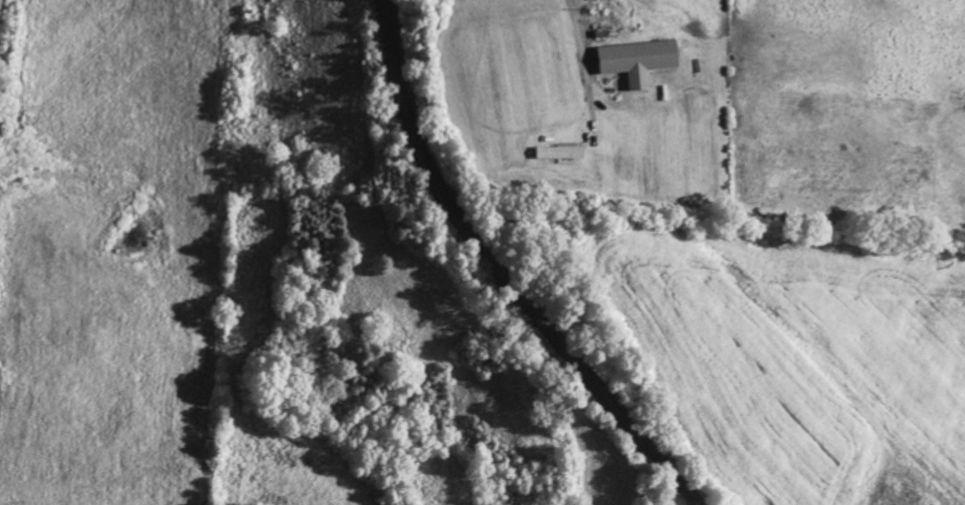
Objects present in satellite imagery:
road: (571, 22)
building: (633, 64)
road: (500, 275)
road: (697, 504)

